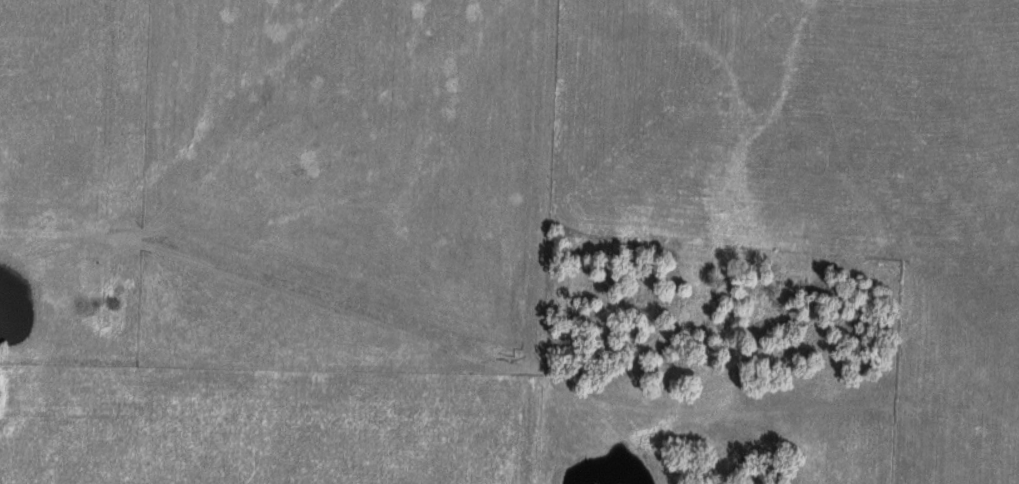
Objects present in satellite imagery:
road: (265, 277)

